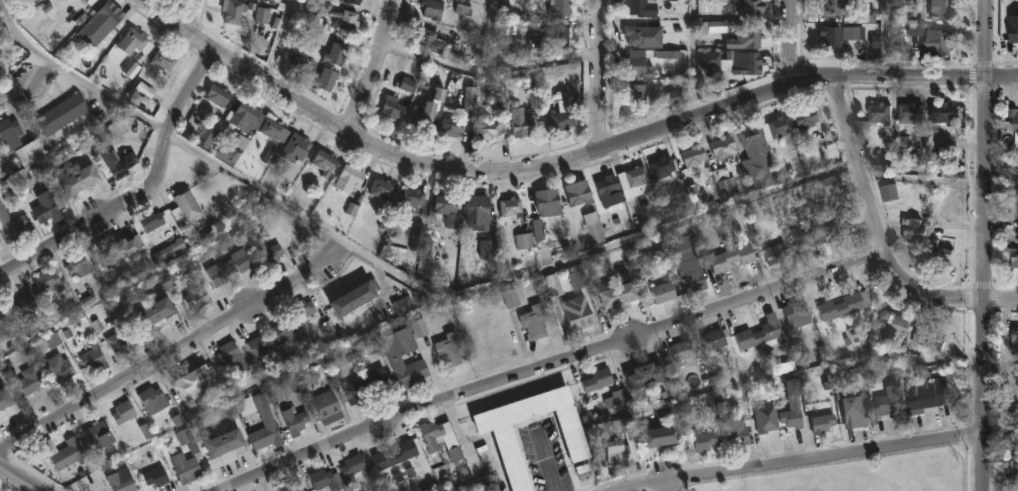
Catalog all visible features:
building: (80, 0)
building: (248, 0)
building: (91, 2)
building: (355, 2)
building: (431, 8)
building: (642, 8)
building: (562, 9)
building: (751, 9)
building: (846, 11)
building: (940, 11)
building: (235, 12)
building: (109, 16)
building: (339, 16)
road: (193, 17)
building: (262, 17)
building: (1014, 30)
building: (559, 35)
building: (860, 35)
building: (645, 37)
building: (826, 37)
road: (890, 38)
road: (987, 38)
building: (745, 39)
building: (429, 40)
road: (791, 41)
building: (135, 42)
building: (939, 42)
building: (339, 53)
road: (699, 58)
building: (165, 60)
building: (752, 64)
road: (370, 65)
building: (641, 65)
road: (518, 70)
road: (602, 74)
building: (326, 80)
road: (27, 83)
building: (408, 86)
building: (638, 93)
building: (217, 95)
building: (675, 98)
building: (393, 108)
building: (876, 112)
building: (908, 112)
building: (940, 113)
building: (63, 114)
building: (246, 117)
building: (425, 117)
building: (808, 118)
building: (564, 120)
building: (1014, 123)
building: (524, 124)
building: (453, 128)
building: (491, 128)
building: (780, 128)
building: (274, 130)
building: (211, 132)
building: (11, 134)
building: (755, 141)
building: (725, 147)
building: (296, 148)
building: (230, 151)
building: (31, 153)
building: (695, 157)
road: (564, 161)
building: (326, 162)
building: (121, 164)
building: (1011, 166)
building: (664, 168)
building: (761, 174)
building: (639, 177)
building: (351, 180)
building: (81, 181)
building: (728, 184)
building: (609, 185)
building: (830, 188)
building: (384, 189)
building: (578, 192)
road: (141, 193)
building: (890, 193)
building: (415, 199)
building: (551, 205)
building: (189, 206)
building: (509, 206)
building: (448, 209)
building: (46, 210)
building: (480, 211)
building: (150, 220)
building: (12, 226)
building: (818, 231)
building: (909, 231)
building: (595, 235)
road: (882, 236)
building: (0, 240)
building: (523, 242)
building: (123, 249)
building: (170, 249)
building: (269, 254)
building: (778, 254)
building: (938, 254)
building: (1013, 256)
building: (734, 258)
building: (79, 264)
building: (228, 267)
building: (691, 270)
building: (49, 281)
road: (987, 284)
building: (663, 291)
building: (616, 294)
building: (357, 296)
building: (196, 297)
road: (471, 299)
building: (511, 299)
building: (840, 305)
building: (158, 309)
building: (30, 310)
building: (303, 310)
building: (579, 312)
building: (795, 314)
building: (537, 320)
building: (890, 322)
building: (4, 327)
building: (764, 333)
building: (924, 337)
building: (1009, 337)
building: (271, 338)
building: (713, 339)
building: (405, 340)
building: (119, 341)
building: (451, 349)
building: (684, 349)
road: (173, 350)
building: (230, 354)
building: (95, 357)
building: (325, 367)
road: (551, 367)
building: (57, 369)
building: (404, 371)
building: (648, 373)
building: (31, 379)
building: (600, 379)
building: (196, 381)
building: (365, 384)
building: (792, 388)
building: (925, 392)
building: (6, 397)
building: (151, 400)
building: (889, 402)
building: (325, 405)
building: (245, 407)
building: (860, 410)
building: (124, 412)
road: (1001, 412)
building: (768, 417)
building: (794, 417)
building: (295, 421)
building: (824, 422)
building: (265, 426)
building: (738, 431)
building: (97, 435)
building: (660, 435)
building: (443, 437)
building: (699, 437)
building: (226, 442)
building: (510, 444)
building: (624, 444)
building: (63, 452)
building: (395, 456)
road: (799, 458)
road: (546, 460)
building: (353, 464)
building: (185, 468)
building: (1011, 473)
building: (155, 476)
road: (18, 479)
building: (327, 480)
building: (121, 481)
building: (495, 485)
building: (291, 486)

